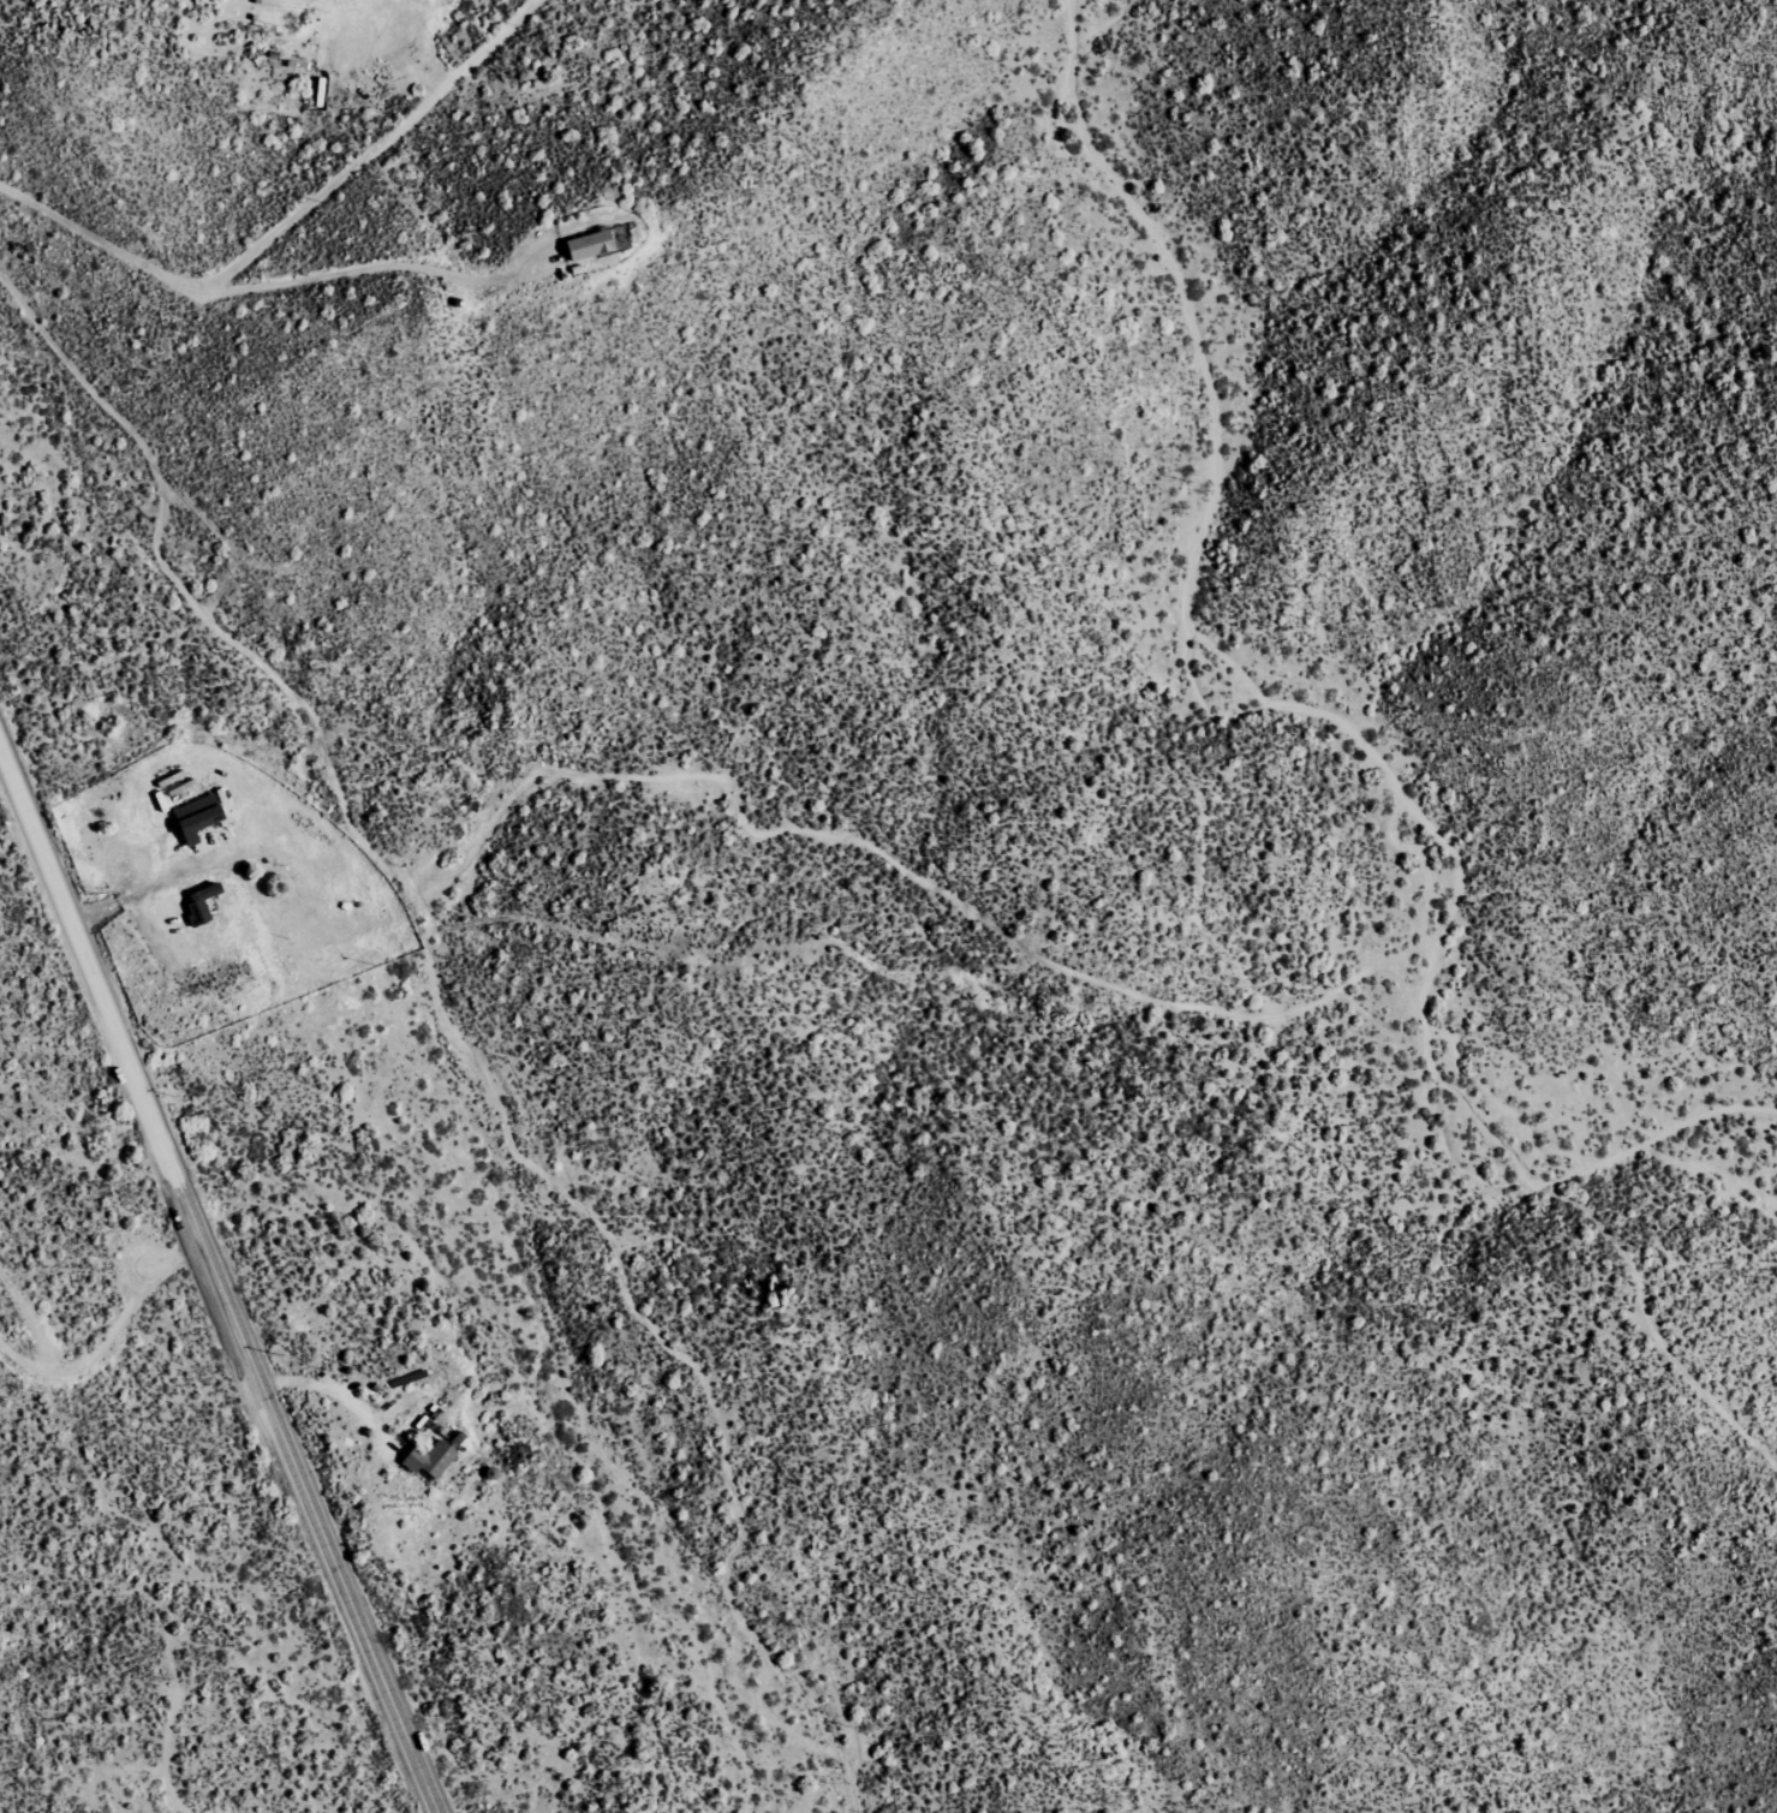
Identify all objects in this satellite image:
road: (291, 226)
building: (591, 244)
building: (199, 816)
building: (202, 906)
road: (220, 1274)
building: (433, 1457)

